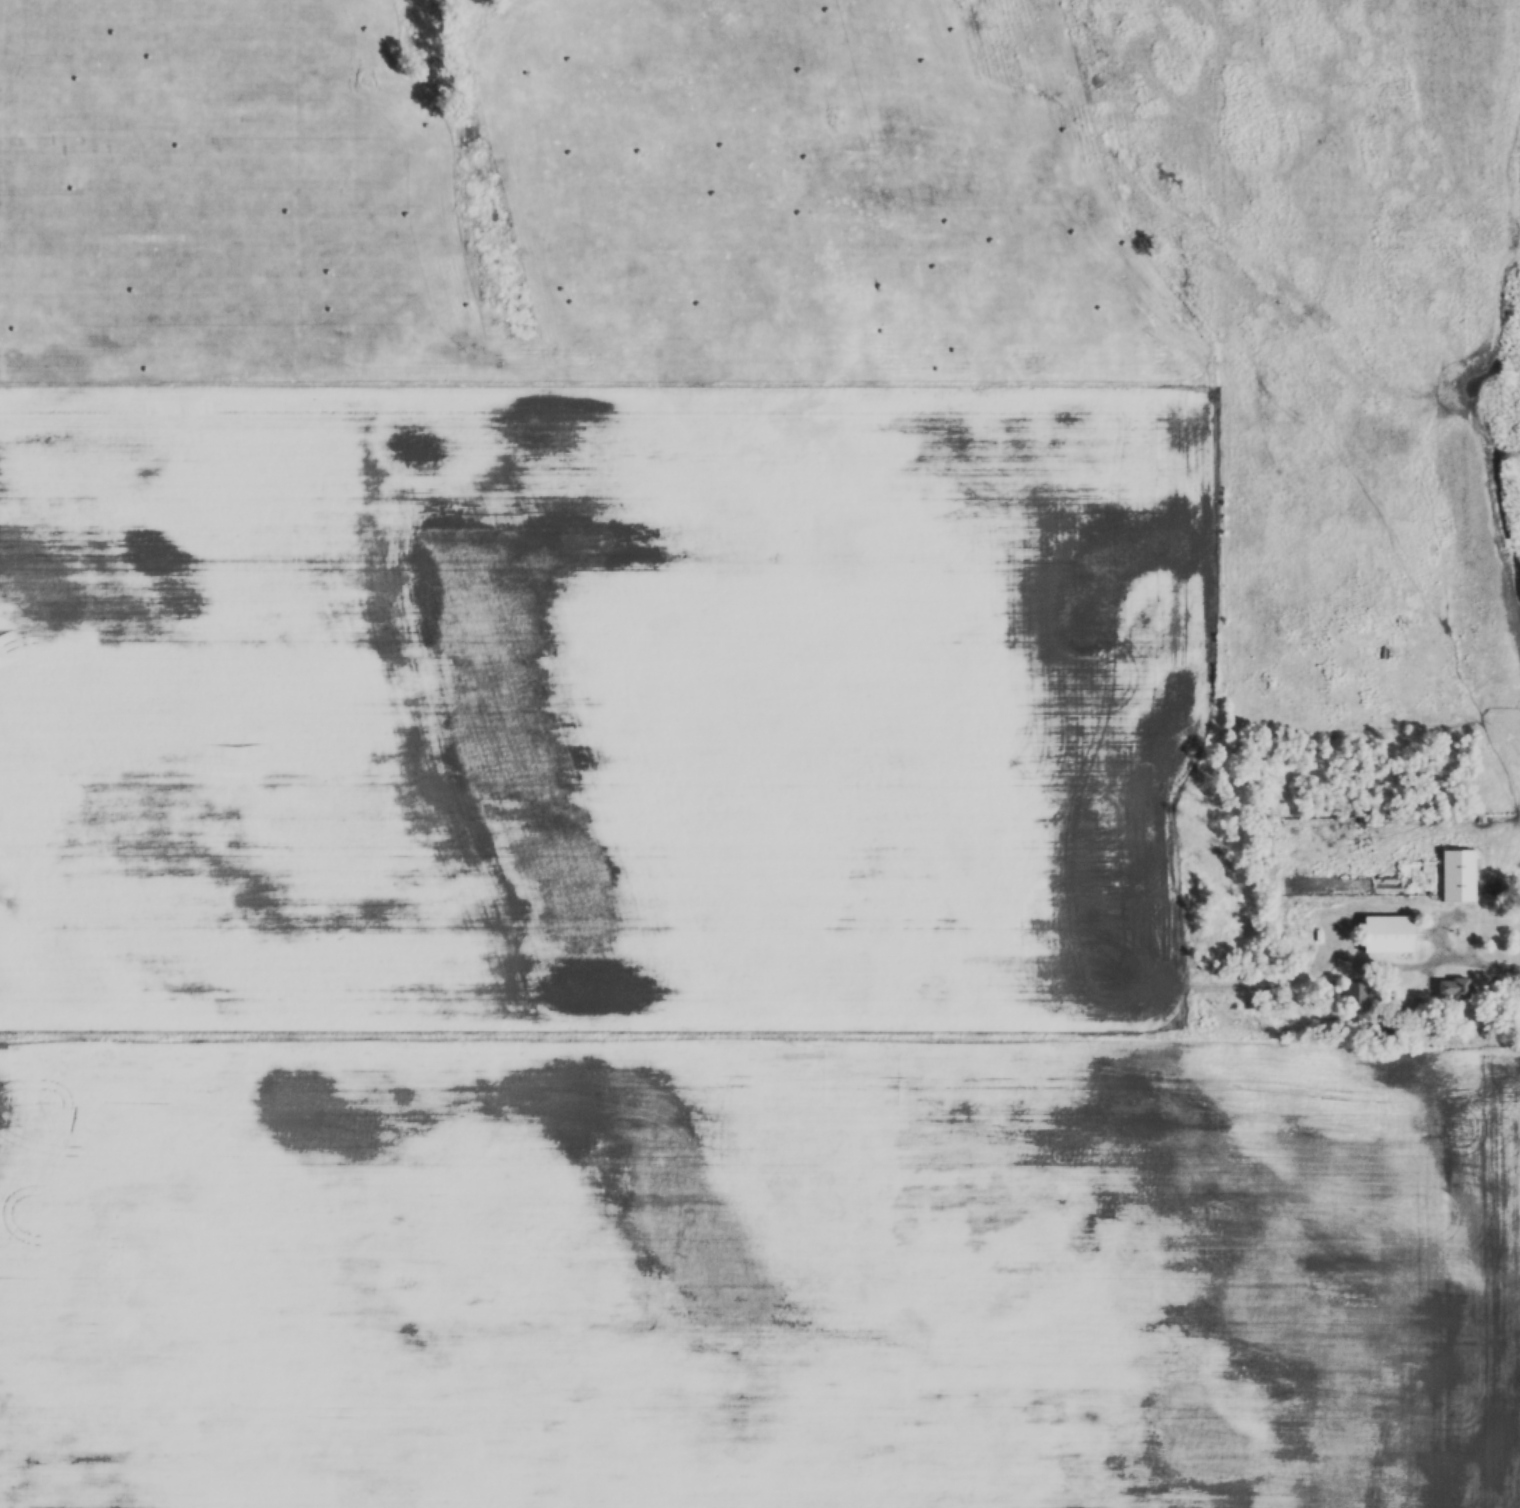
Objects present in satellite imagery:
building: (1366, 816)
building: (1453, 875)
road: (1328, 915)
building: (1382, 934)
road: (1487, 968)
building: (1449, 988)
building: (1352, 996)

